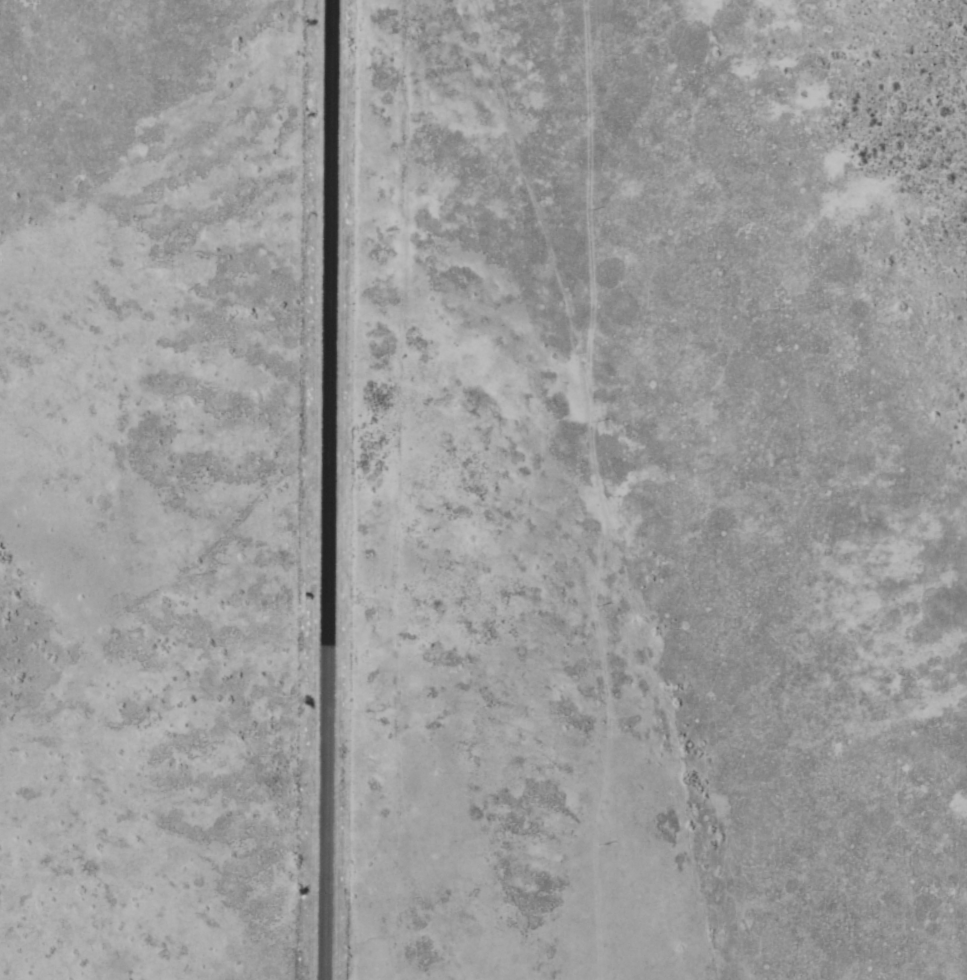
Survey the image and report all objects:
road: (324, 490)
road: (205, 897)

